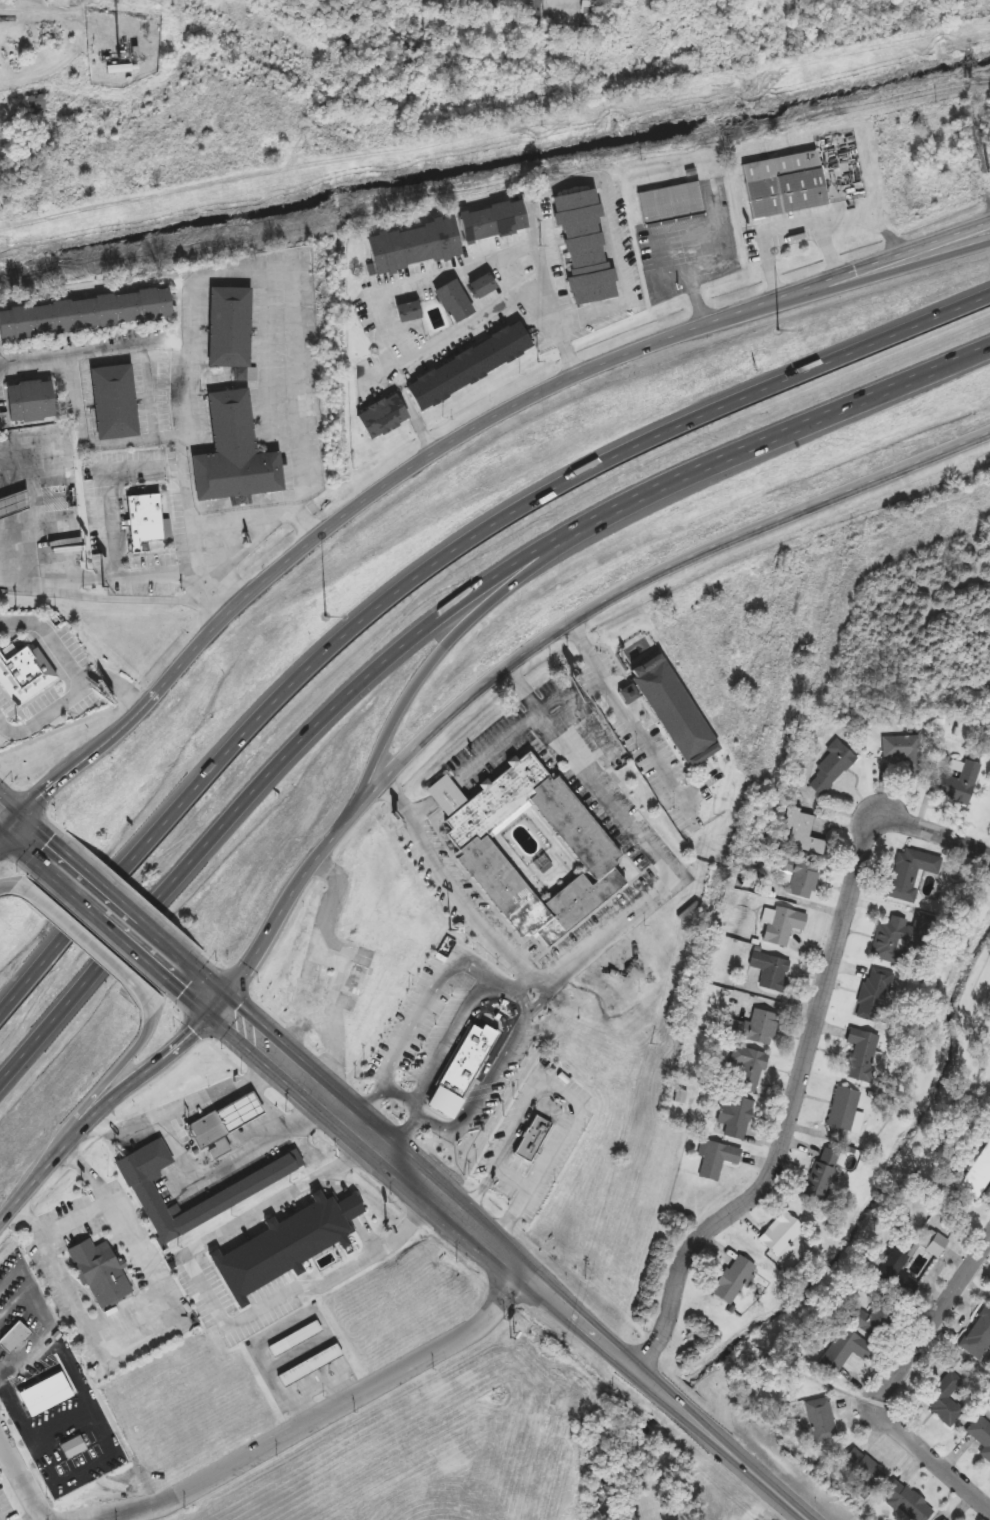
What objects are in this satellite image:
building: (491, 1)
road: (539, 9)
building: (588, 12)
road: (76, 17)
building: (117, 69)
building: (34, 102)
building: (782, 184)
building: (669, 203)
road: (613, 217)
road: (786, 226)
building: (434, 239)
building: (582, 247)
road: (849, 271)
road: (445, 272)
road: (850, 285)
road: (297, 288)
building: (478, 288)
building: (451, 302)
building: (404, 312)
building: (82, 314)
building: (225, 327)
street lamp: (779, 333)
building: (466, 367)
building: (26, 402)
building: (111, 402)
building: (379, 418)
road: (119, 440)
building: (230, 454)
road: (178, 459)
road: (105, 502)
road: (36, 503)
building: (13, 504)
building: (142, 520)
road: (303, 522)
road: (327, 525)
road: (428, 566)
road: (130, 573)
road: (644, 582)
road: (118, 597)
street lamp: (325, 615)
road: (434, 632)
road: (449, 640)
road: (81, 680)
road: (116, 682)
road: (626, 708)
building: (674, 709)
road: (496, 748)
building: (905, 750)
railway: (756, 760)
building: (830, 768)
building: (958, 784)
road: (442, 796)
road: (421, 813)
road: (6, 817)
traffic signals: (12, 823)
road: (6, 830)
building: (801, 832)
road: (27, 836)
building: (471, 845)
road: (653, 849)
building: (909, 872)
building: (801, 878)
road: (450, 882)
road: (5, 888)
road: (115, 914)
building: (780, 925)
building: (887, 939)
road: (87, 945)
building: (771, 971)
building: (336, 979)
road: (510, 991)
building: (873, 993)
traffic signals: (220, 1007)
building: (756, 1028)
road: (192, 1034)
road: (450, 1042)
building: (434, 1045)
road: (807, 1056)
building: (862, 1056)
building: (461, 1066)
building: (745, 1069)
road: (114, 1076)
road: (310, 1084)
road: (563, 1094)
road: (188, 1095)
road: (403, 1100)
building: (842, 1109)
building: (236, 1112)
building: (734, 1116)
building: (208, 1137)
building: (531, 1138)
building: (715, 1160)
building: (975, 1170)
building: (818, 1175)
road: (513, 1180)
building: (150, 1187)
building: (235, 1192)
road: (77, 1218)
building: (780, 1235)
building: (284, 1245)
building: (933, 1245)
building: (893, 1270)
building: (99, 1272)
building: (733, 1281)
road: (215, 1307)
building: (870, 1319)
road: (146, 1320)
building: (977, 1335)
building: (12, 1337)
building: (293, 1339)
building: (843, 1350)
road: (621, 1356)
building: (307, 1365)
road: (894, 1379)
road: (359, 1394)
building: (45, 1398)
building: (944, 1399)
building: (821, 1420)
building: (980, 1434)
building: (74, 1448)
road: (11, 1450)
building: (862, 1467)
road: (36, 1496)
building: (906, 1501)
road: (135, 1512)
road: (44, 1517)
road: (0, 1519)
building: (943, 1519)

